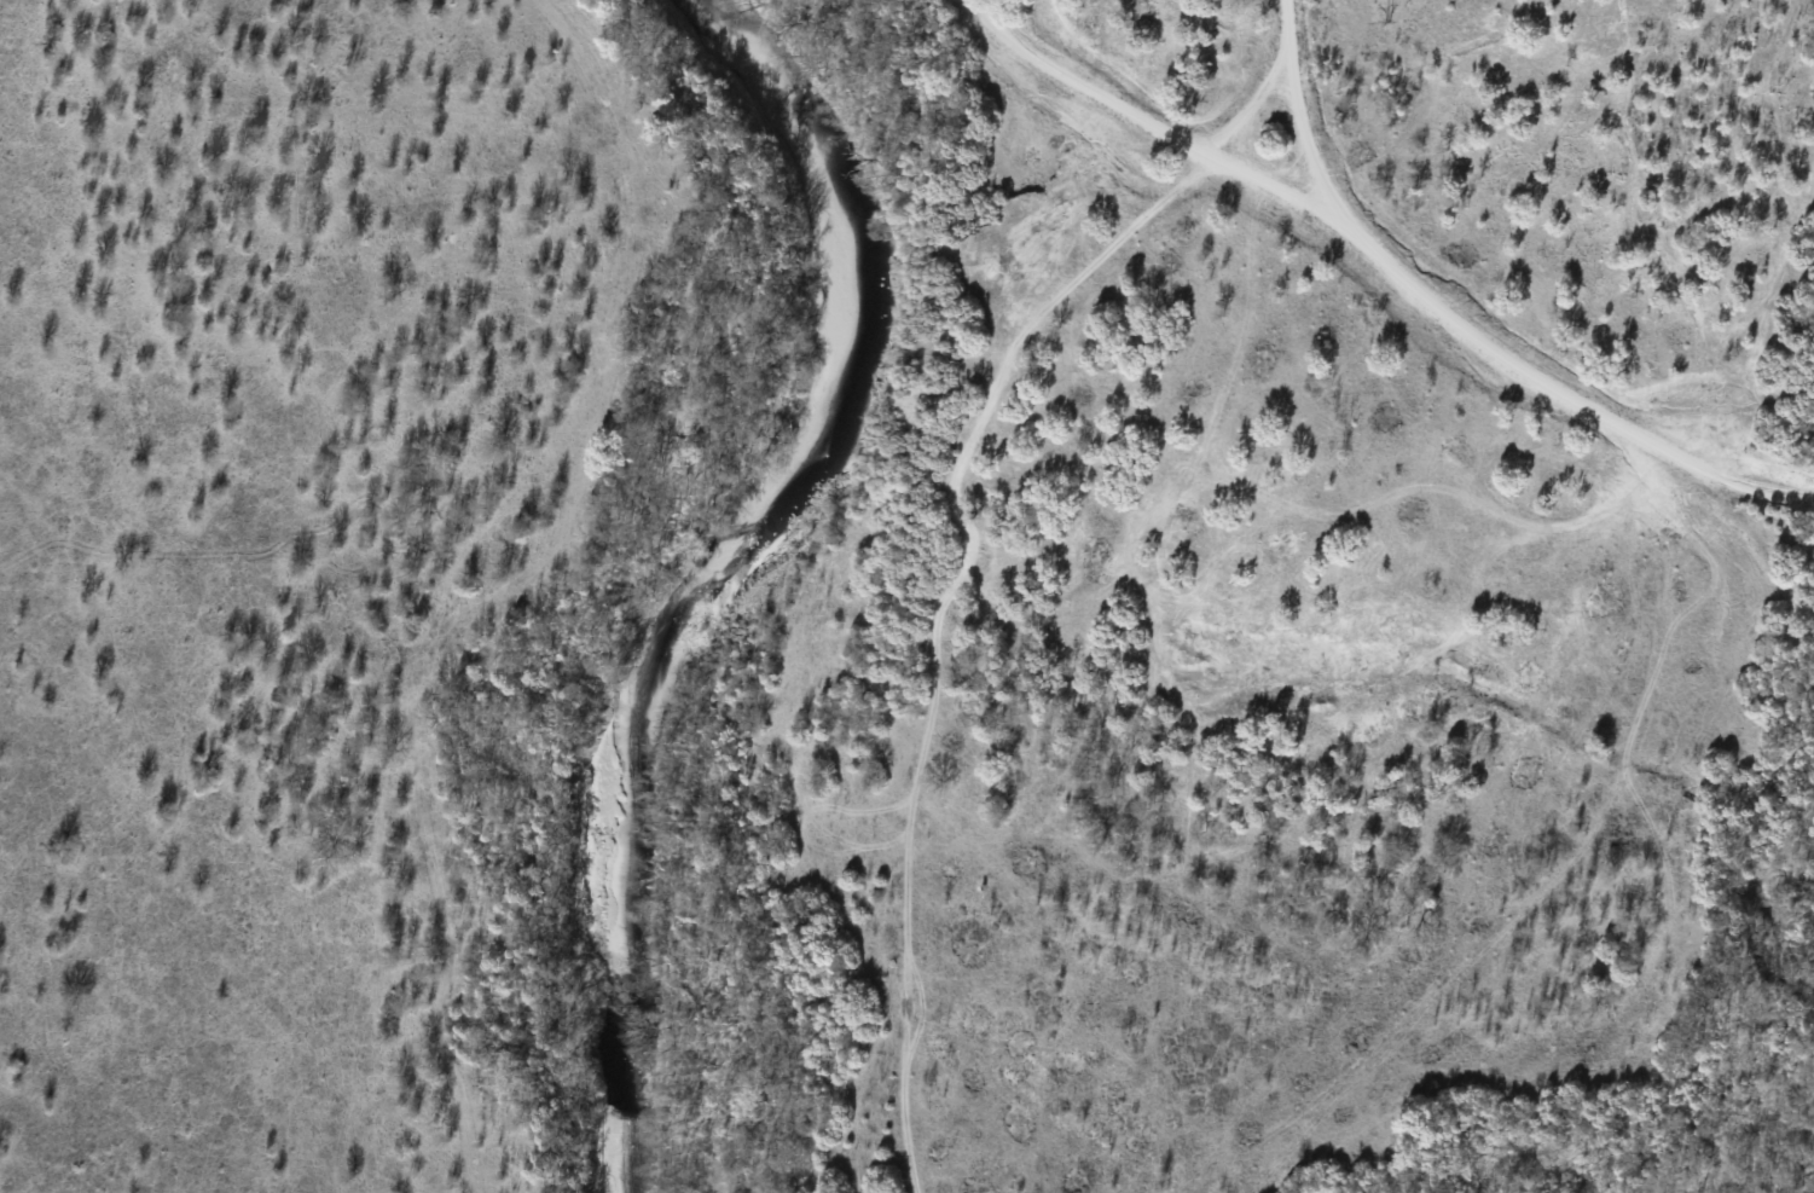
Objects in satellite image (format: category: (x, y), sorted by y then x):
road: (1271, 86)
road: (1387, 263)
river: (718, 569)

